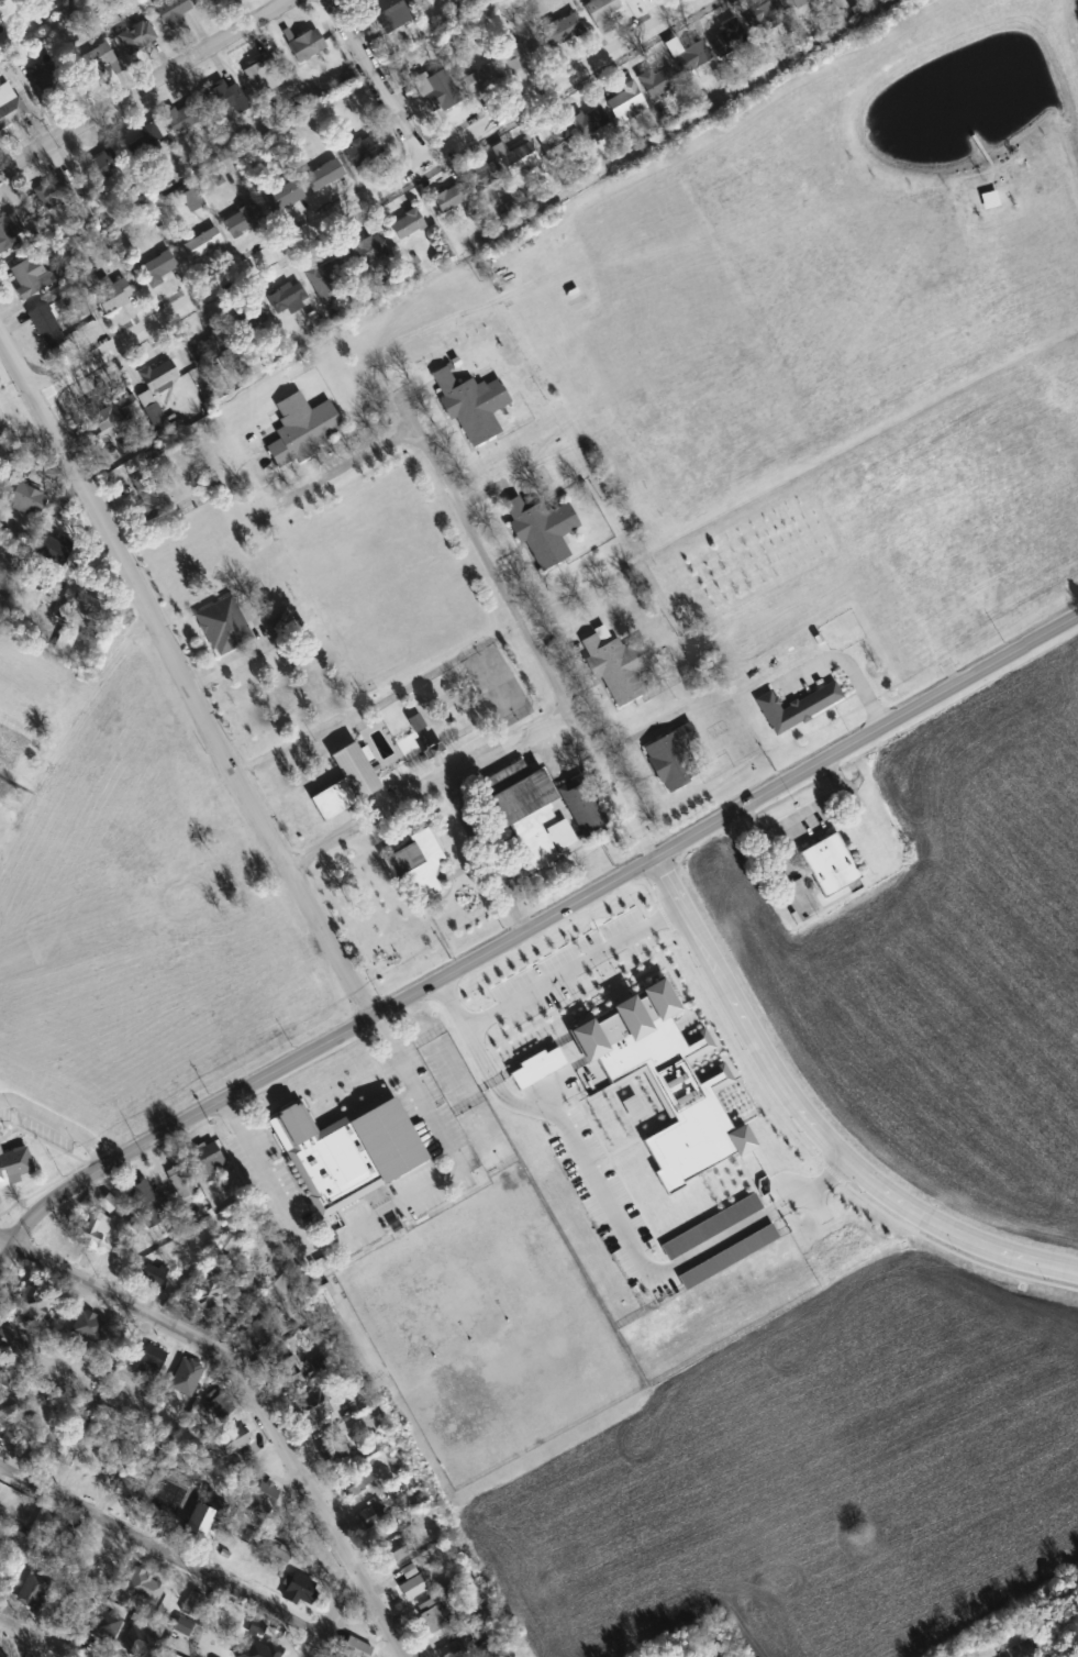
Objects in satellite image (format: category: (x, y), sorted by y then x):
building: (210, 2)
building: (794, 4)
building: (389, 13)
building: (601, 13)
building: (760, 13)
building: (563, 31)
building: (141, 34)
building: (727, 37)
building: (307, 45)
building: (522, 55)
building: (100, 56)
building: (691, 58)
building: (55, 75)
building: (264, 76)
road: (385, 78)
building: (482, 78)
building: (658, 80)
road: (144, 85)
building: (443, 90)
building: (225, 98)
building: (626, 101)
building: (10, 106)
building: (184, 117)
building: (590, 122)
building: (151, 140)
building: (556, 142)
building: (363, 150)
building: (518, 162)
building: (104, 165)
building: (325, 175)
building: (484, 176)
building: (54, 191)
building: (282, 196)
building: (452, 196)
road: (364, 197)
building: (192, 199)
building: (243, 220)
building: (407, 224)
building: (10, 232)
building: (203, 244)
building: (363, 254)
building: (158, 268)
building: (31, 276)
building: (323, 284)
building: (115, 296)
building: (286, 297)
building: (248, 319)
building: (47, 325)
building: (208, 347)
building: (159, 375)
building: (469, 401)
building: (105, 410)
building: (155, 416)
building: (1, 419)
building: (299, 426)
road: (310, 488)
building: (148, 495)
building: (26, 499)
building: (538, 526)
building: (53, 550)
building: (221, 622)
road: (522, 626)
building: (64, 643)
building: (615, 663)
road: (844, 663)
road: (184, 681)
park: (493, 683)
building: (793, 704)
building: (667, 753)
building: (344, 781)
road: (429, 789)
building: (579, 804)
building: (526, 808)
road: (486, 858)
building: (414, 859)
building: (827, 862)
road: (531, 932)
parking lot: (569, 965)
road: (571, 968)
building: (536, 1064)
building: (664, 1076)
parking lot: (421, 1101)
parking lot: (3, 1104)
road: (60, 1123)
road: (814, 1123)
parking lot: (42, 1128)
park: (484, 1135)
building: (345, 1148)
building: (209, 1158)
building: (13, 1162)
parking lot: (267, 1180)
building: (182, 1183)
building: (144, 1205)
parking lot: (394, 1205)
road: (384, 1208)
road: (611, 1212)
building: (93, 1230)
building: (155, 1274)
building: (176, 1283)
building: (208, 1294)
building: (33, 1302)
building: (91, 1328)
building: (257, 1333)
building: (16, 1344)
building: (151, 1361)
building: (285, 1371)
building: (3, 1383)
road: (252, 1395)
building: (220, 1406)
building: (314, 1406)
building: (12, 1434)
building: (233, 1440)
building: (335, 1455)
building: (353, 1487)
building: (262, 1499)
building: (204, 1515)
building: (370, 1516)
building: (249, 1537)
road: (163, 1550)
building: (396, 1550)
building: (105, 1556)
building: (277, 1558)
building: (414, 1587)
building: (299, 1589)
building: (32, 1590)
building: (191, 1605)
road: (334, 1613)
building: (431, 1616)
building: (64, 1620)
building: (104, 1624)
road: (35, 1638)
building: (138, 1642)
building: (355, 1648)
building: (457, 1648)
building: (268, 1650)
building: (2, 1655)

